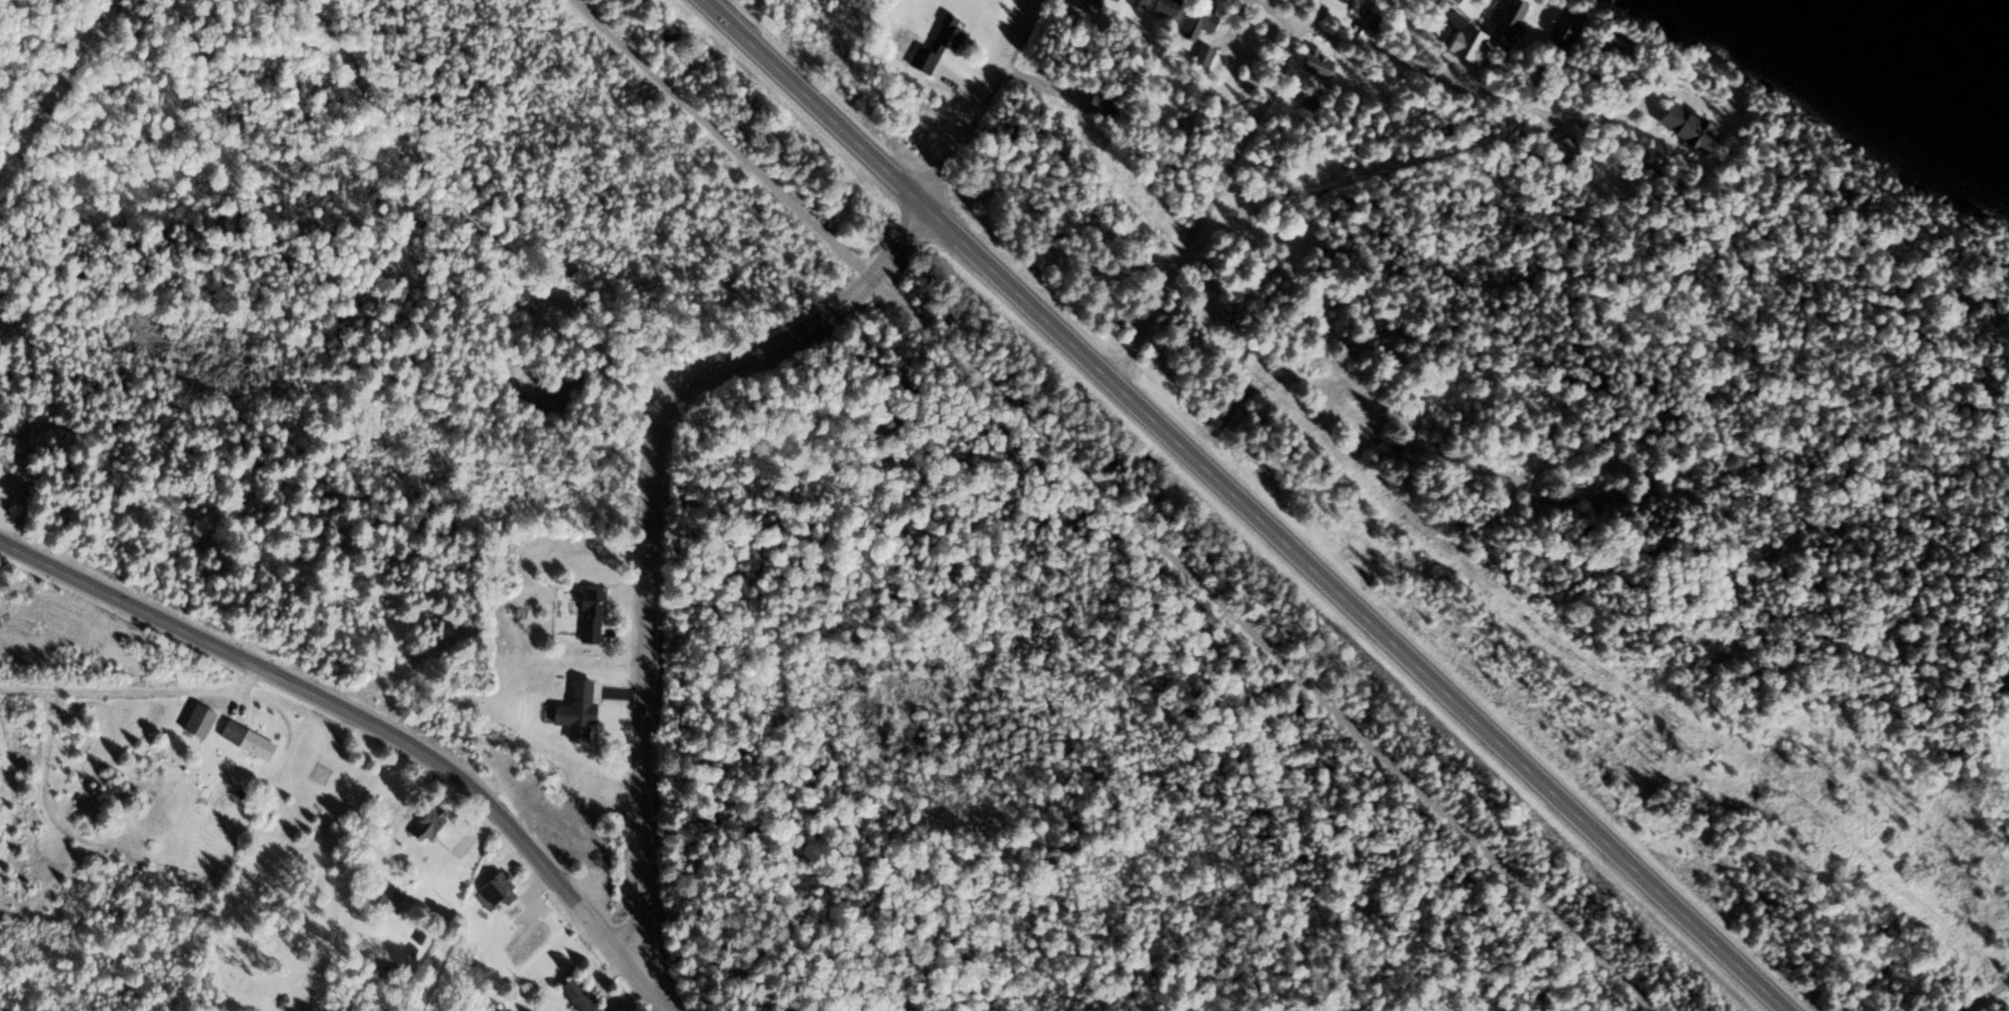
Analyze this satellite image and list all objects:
building: (1111, 0)
building: (1132, 3)
building: (1082, 5)
building: (1159, 7)
building: (1188, 22)
building: (1506, 23)
building: (928, 51)
building: (1198, 55)
road: (1414, 61)
building: (1309, 62)
building: (1679, 125)
road: (1212, 202)
road: (463, 214)
building: (1238, 216)
road: (663, 400)
road: (1245, 504)
road: (1109, 505)
building: (587, 615)
road: (133, 689)
road: (227, 697)
building: (573, 709)
building: (198, 719)
road: (373, 723)
building: (246, 739)
building: (421, 824)
building: (492, 887)
building: (380, 899)
building: (573, 993)
road: (1989, 995)

